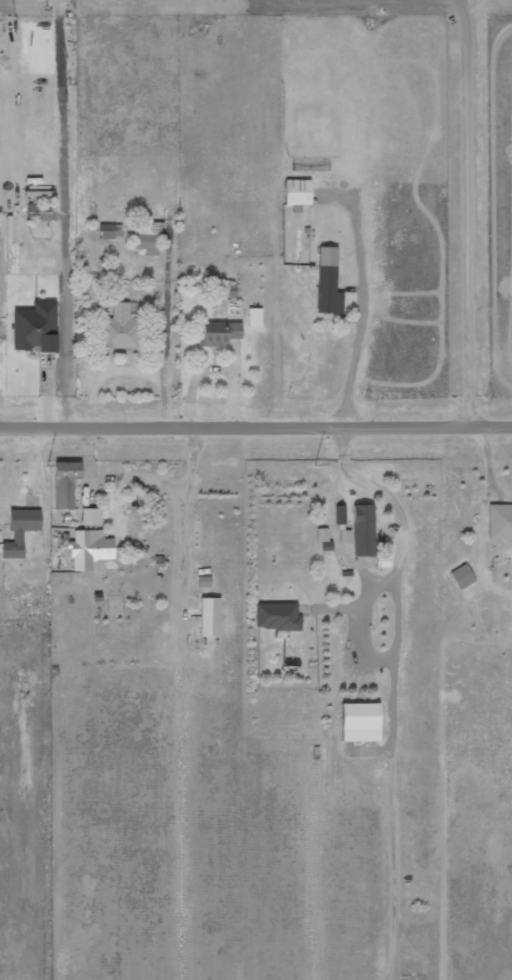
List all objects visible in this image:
building: (296, 192)
building: (38, 212)
building: (109, 231)
building: (145, 237)
building: (327, 282)
building: (254, 317)
building: (34, 327)
building: (118, 329)
building: (217, 333)
road: (256, 425)
power tower: (311, 463)
power tower: (50, 465)
building: (64, 483)
building: (339, 514)
building: (90, 516)
building: (500, 523)
building: (362, 530)
building: (19, 531)
building: (321, 534)
building: (325, 545)
building: (89, 548)
building: (461, 576)
building: (208, 616)
building: (276, 616)
building: (359, 722)

